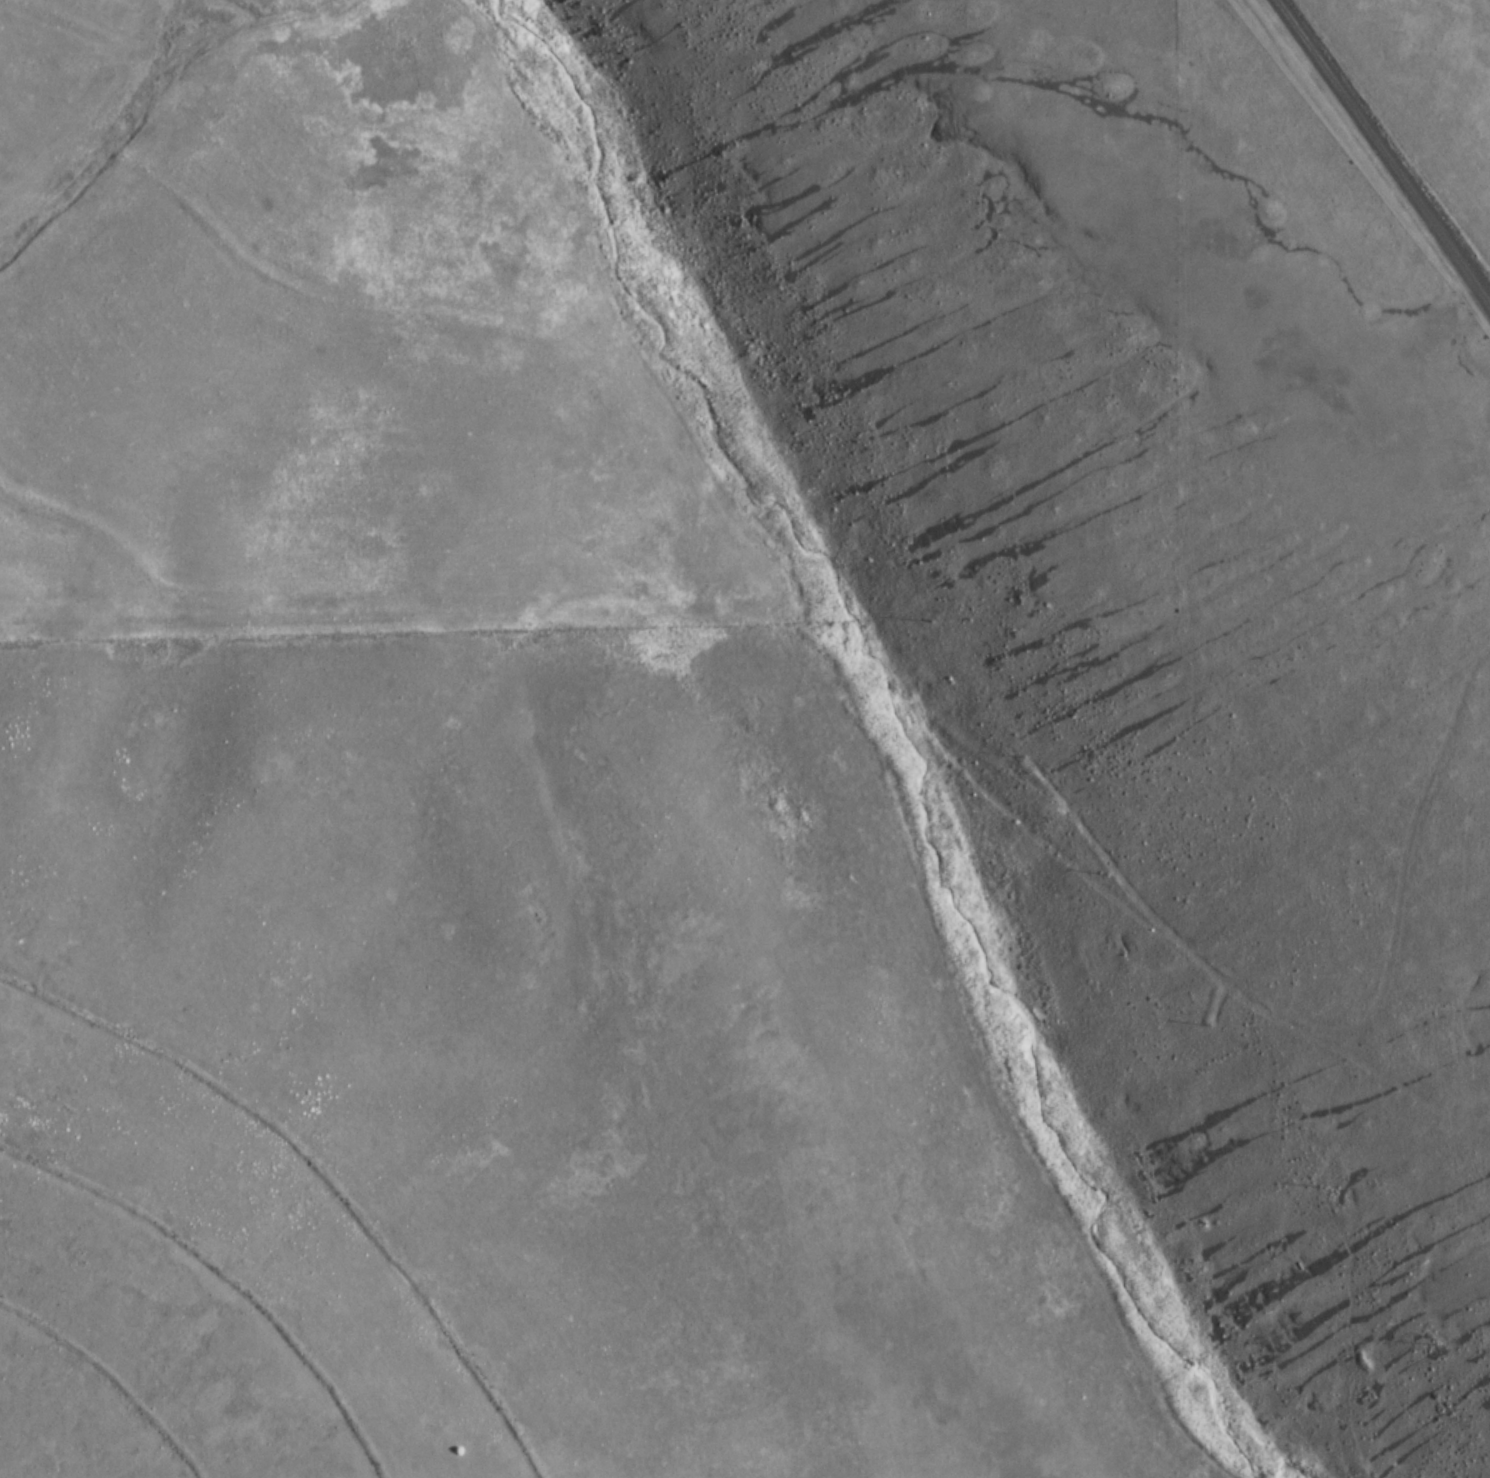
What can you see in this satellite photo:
road: (1386, 159)

